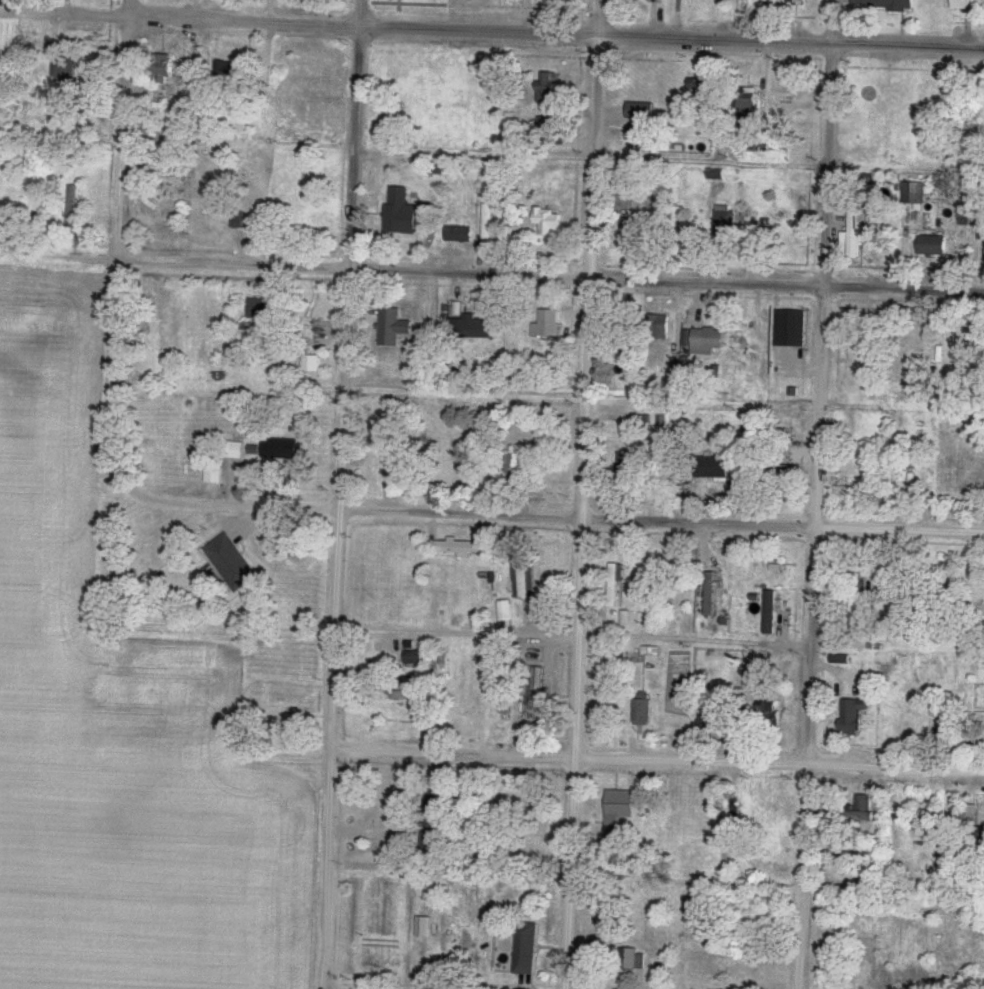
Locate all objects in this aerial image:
building: (795, 2)
building: (884, 4)
building: (966, 5)
road: (180, 22)
road: (480, 32)
road: (791, 42)
building: (63, 66)
building: (164, 70)
building: (226, 70)
building: (317, 79)
building: (697, 87)
building: (889, 98)
building: (549, 100)
building: (747, 109)
building: (641, 111)
building: (394, 113)
building: (85, 129)
road: (358, 134)
building: (167, 162)
building: (909, 187)
building: (73, 206)
building: (400, 211)
building: (238, 219)
building: (548, 221)
building: (487, 224)
building: (632, 231)
building: (853, 232)
building: (459, 233)
road: (116, 243)
building: (932, 245)
road: (63, 258)
road: (352, 269)
road: (786, 281)
building: (265, 309)
building: (546, 324)
building: (392, 326)
building: (474, 326)
building: (662, 327)
building: (790, 328)
building: (311, 363)
building: (281, 448)
building: (235, 449)
building: (391, 464)
building: (627, 467)
building: (710, 467)
building: (512, 471)
building: (864, 472)
building: (213, 473)
road: (581, 494)
road: (817, 494)
road: (350, 509)
road: (782, 524)
building: (460, 548)
building: (230, 562)
building: (522, 576)
building: (614, 585)
building: (709, 593)
building: (852, 604)
building: (652, 607)
road: (333, 629)
building: (413, 657)
building: (405, 695)
building: (536, 696)
building: (642, 708)
building: (767, 710)
building: (293, 715)
building: (851, 716)
building: (708, 718)
building: (946, 726)
road: (451, 755)
road: (778, 764)
building: (620, 806)
building: (857, 811)
building: (970, 813)
building: (433, 819)
building: (733, 823)
building: (767, 823)
building: (974, 834)
building: (423, 927)
building: (525, 948)
building: (632, 960)

